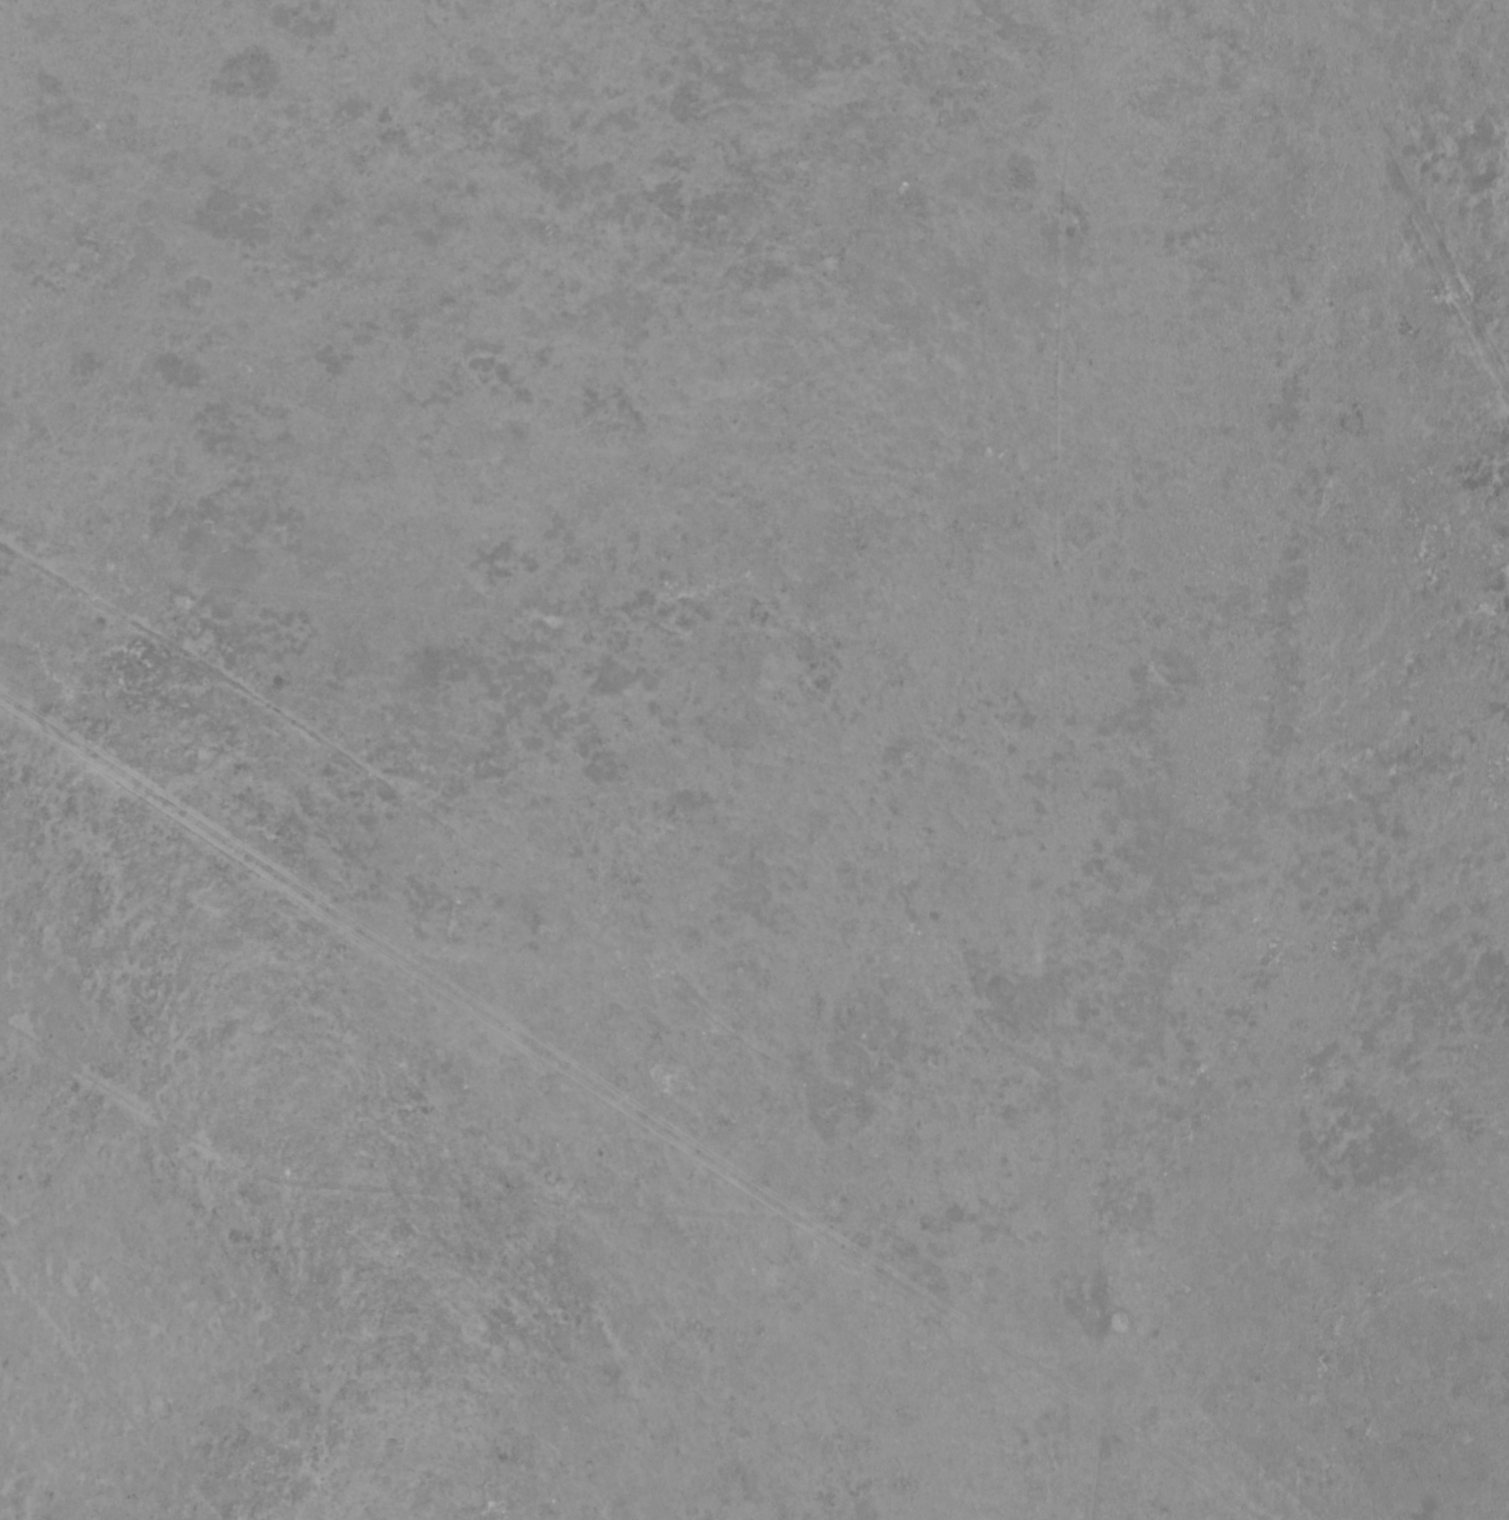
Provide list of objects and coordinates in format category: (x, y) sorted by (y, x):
road: (701, 1204)

